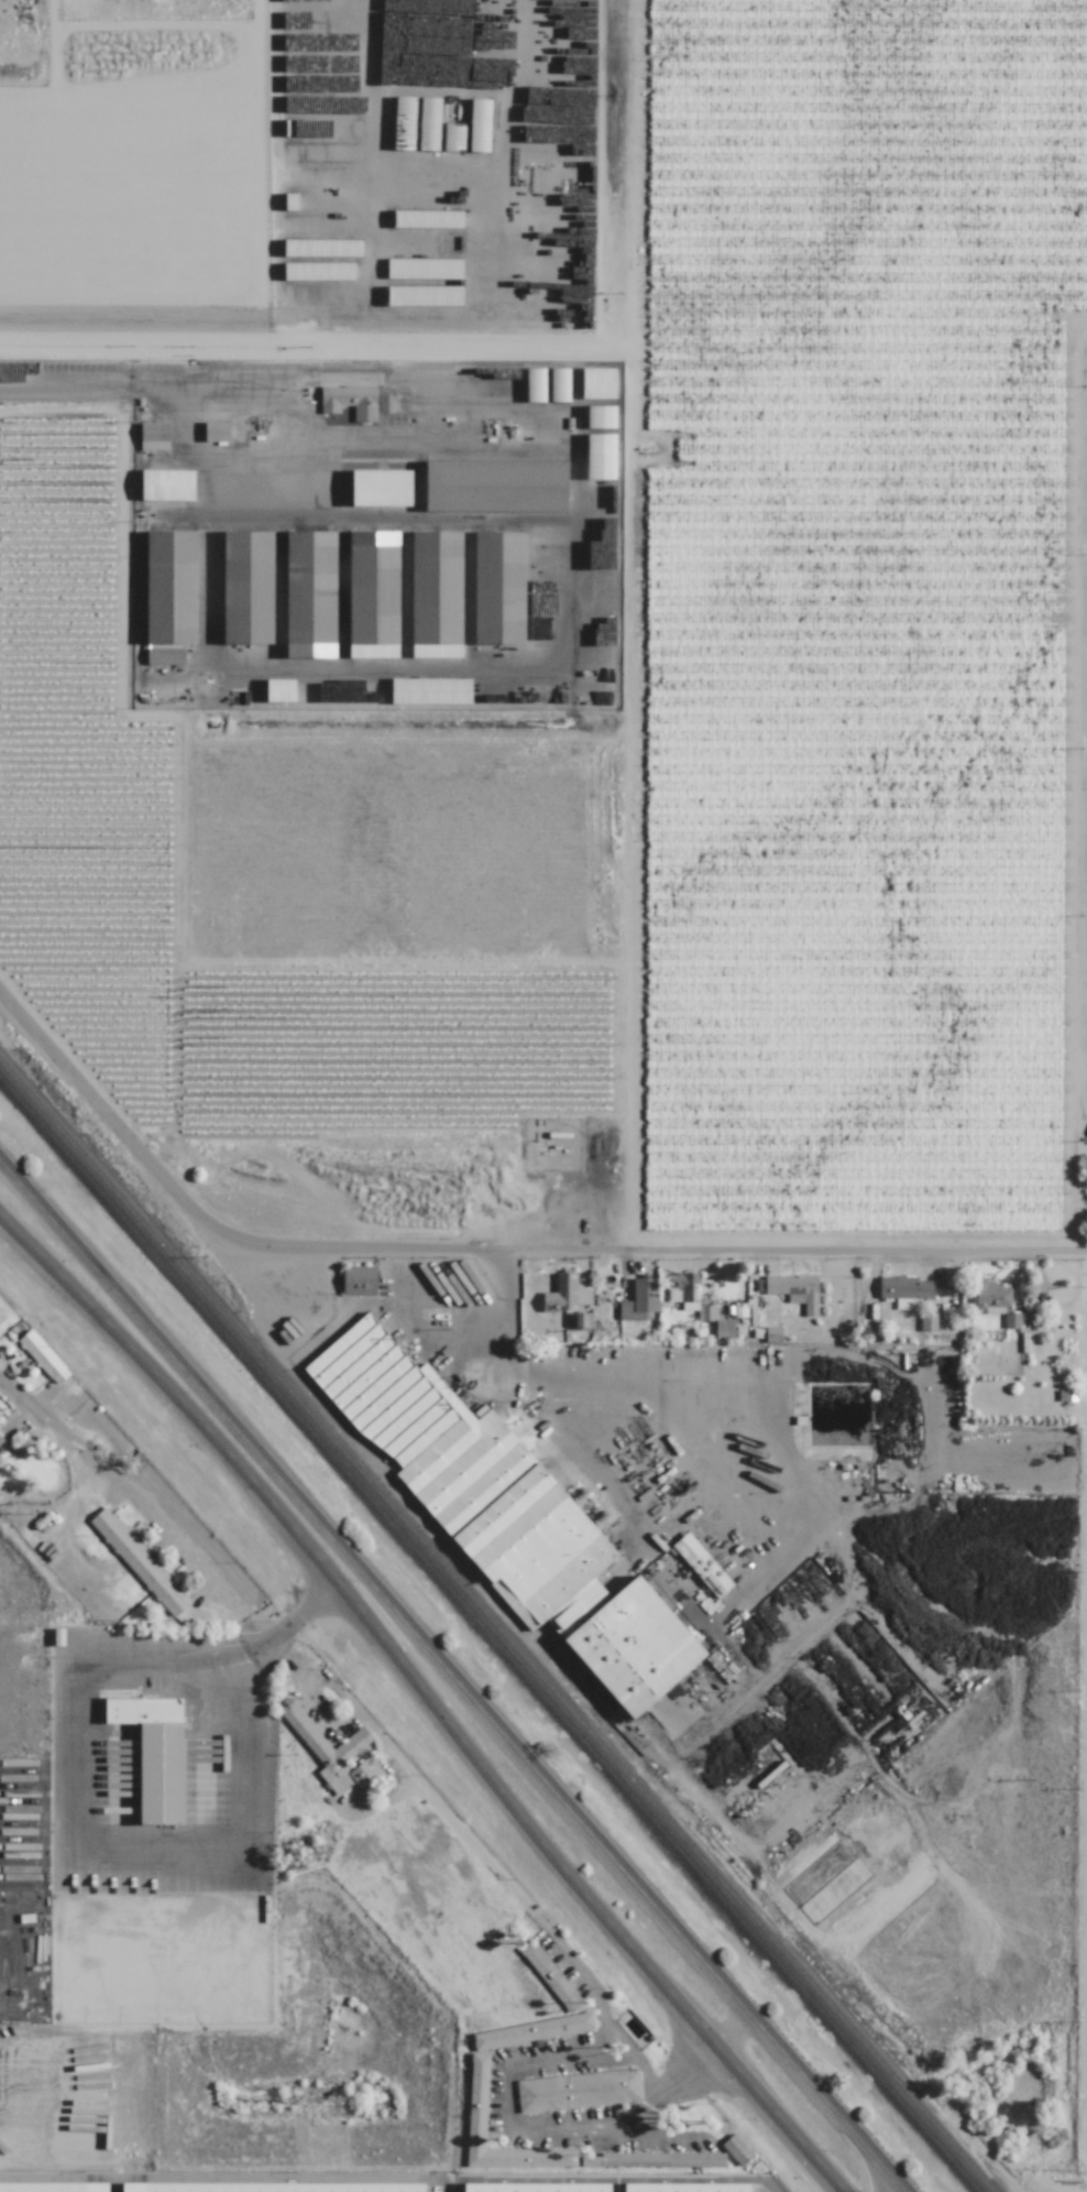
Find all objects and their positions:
building: (479, 126)
building: (453, 137)
building: (332, 152)
building: (303, 177)
building: (292, 223)
building: (321, 248)
building: (424, 268)
building: (320, 271)
building: (295, 294)
building: (424, 295)
road: (215, 318)
building: (507, 382)
building: (597, 382)
road: (95, 390)
building: (350, 401)
building: (385, 404)
building: (600, 416)
building: (216, 430)
building: (153, 436)
building: (600, 456)
building: (166, 484)
building: (494, 486)
building: (380, 487)
building: (172, 587)
building: (250, 587)
building: (496, 587)
building: (309, 593)
building: (370, 595)
building: (433, 595)
road: (567, 643)
building: (165, 656)
building: (279, 690)
building: (429, 690)
road: (1074, 782)
road: (114, 1126)
road: (665, 1242)
building: (358, 1280)
building: (687, 1289)
building: (904, 1290)
building: (990, 1297)
building: (568, 1299)
building: (639, 1300)
building: (706, 1312)
building: (1, 1316)
building: (1011, 1320)
building: (927, 1321)
building: (723, 1328)
building: (771, 1333)
building: (43, 1356)
building: (0, 1441)
road: (113, 1480)
road: (784, 1488)
building: (504, 1515)
building: (139, 1561)
building: (701, 1564)
railway: (496, 1627)
railway: (488, 1635)
building: (57, 1636)
road: (452, 1678)
road: (427, 1698)
building: (154, 1753)
building: (332, 1753)
road: (74, 1793)
road: (455, 1830)
road: (1085, 1923)
building: (550, 1975)
building: (531, 2030)
building: (578, 2091)
building: (476, 2101)
road: (534, 2134)
building: (736, 2149)
road: (611, 2180)
building: (53, 2186)
building: (272, 2186)
building: (535, 2188)
building: (687, 2188)

